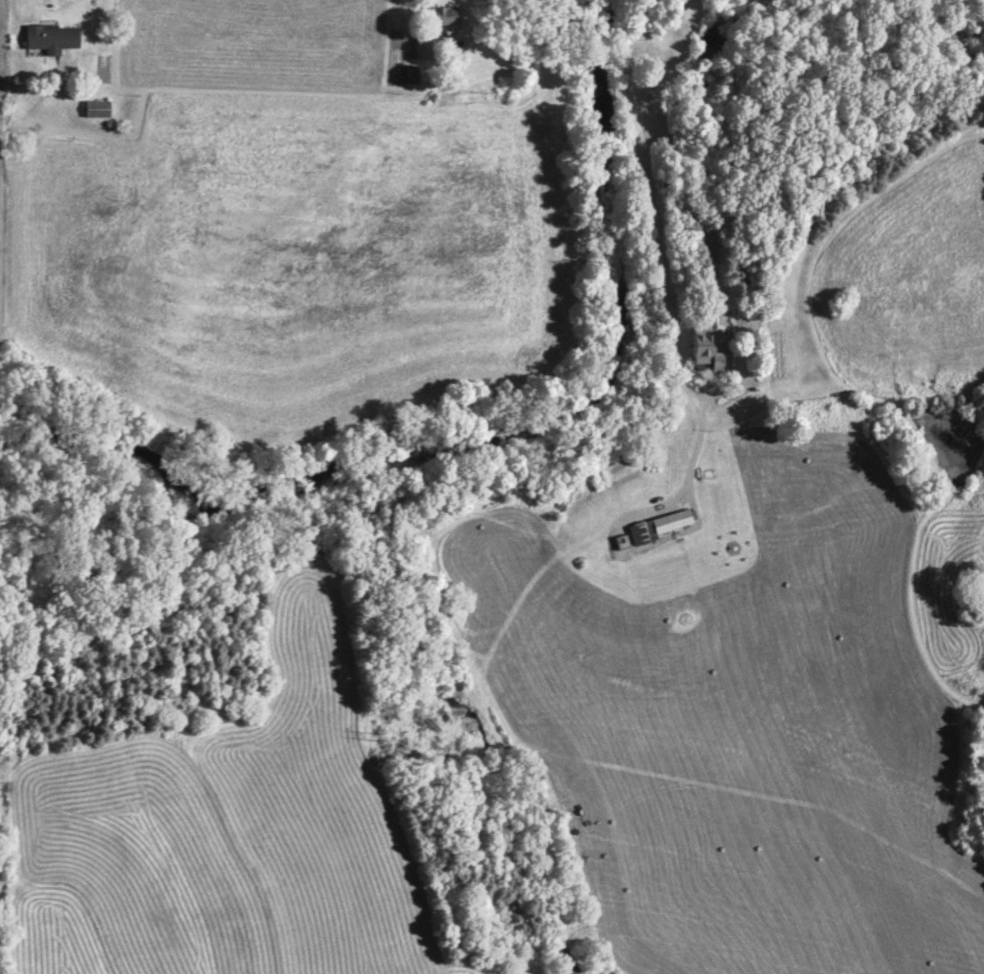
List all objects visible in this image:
road: (32, 11)
building: (441, 18)
building: (52, 40)
building: (426, 48)
building: (97, 111)
road: (656, 228)
building: (711, 351)
building: (660, 528)
power tower: (375, 734)

